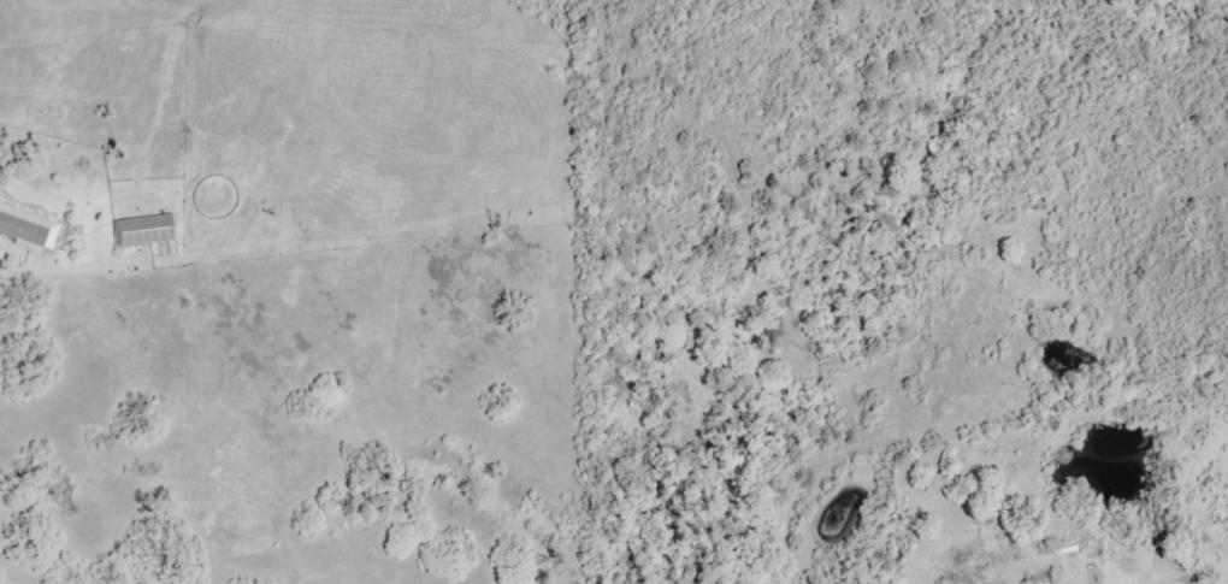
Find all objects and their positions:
building: (29, 228)
building: (146, 230)

